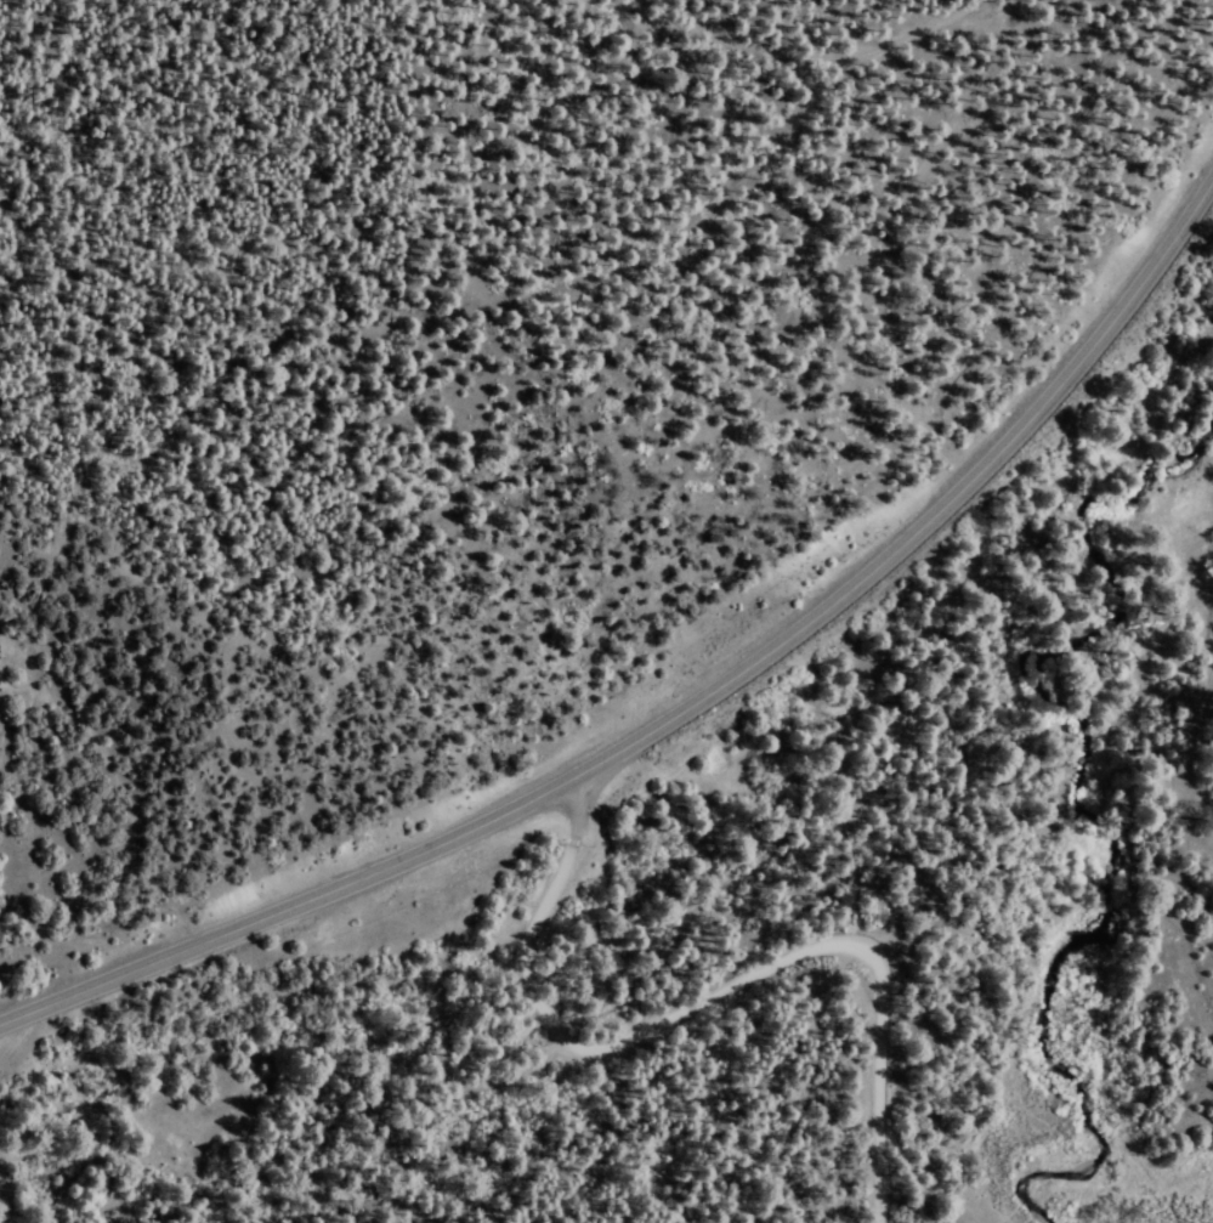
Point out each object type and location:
road: (691, 16)
road: (1175, 222)
road: (630, 743)
road: (1160, 760)
road: (712, 997)

